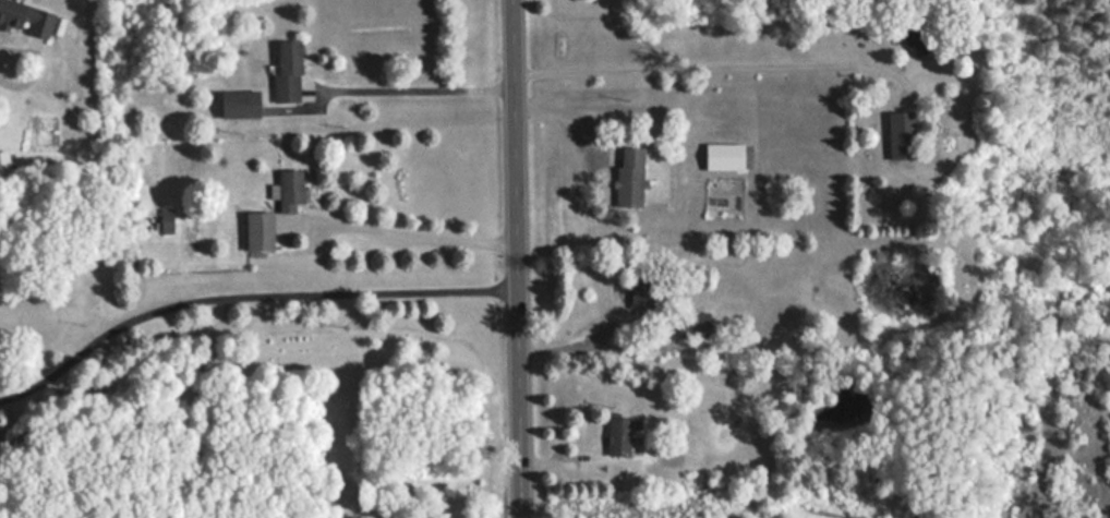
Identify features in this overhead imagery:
building: (24, 17)
building: (913, 36)
road: (700, 65)
building: (286, 72)
road: (418, 84)
building: (237, 104)
building: (900, 135)
building: (726, 156)
building: (628, 176)
building: (288, 190)
building: (165, 220)
building: (256, 230)
road: (417, 233)
road: (517, 258)
road: (245, 293)
building: (639, 293)
building: (691, 324)
building: (627, 384)
building: (617, 435)

